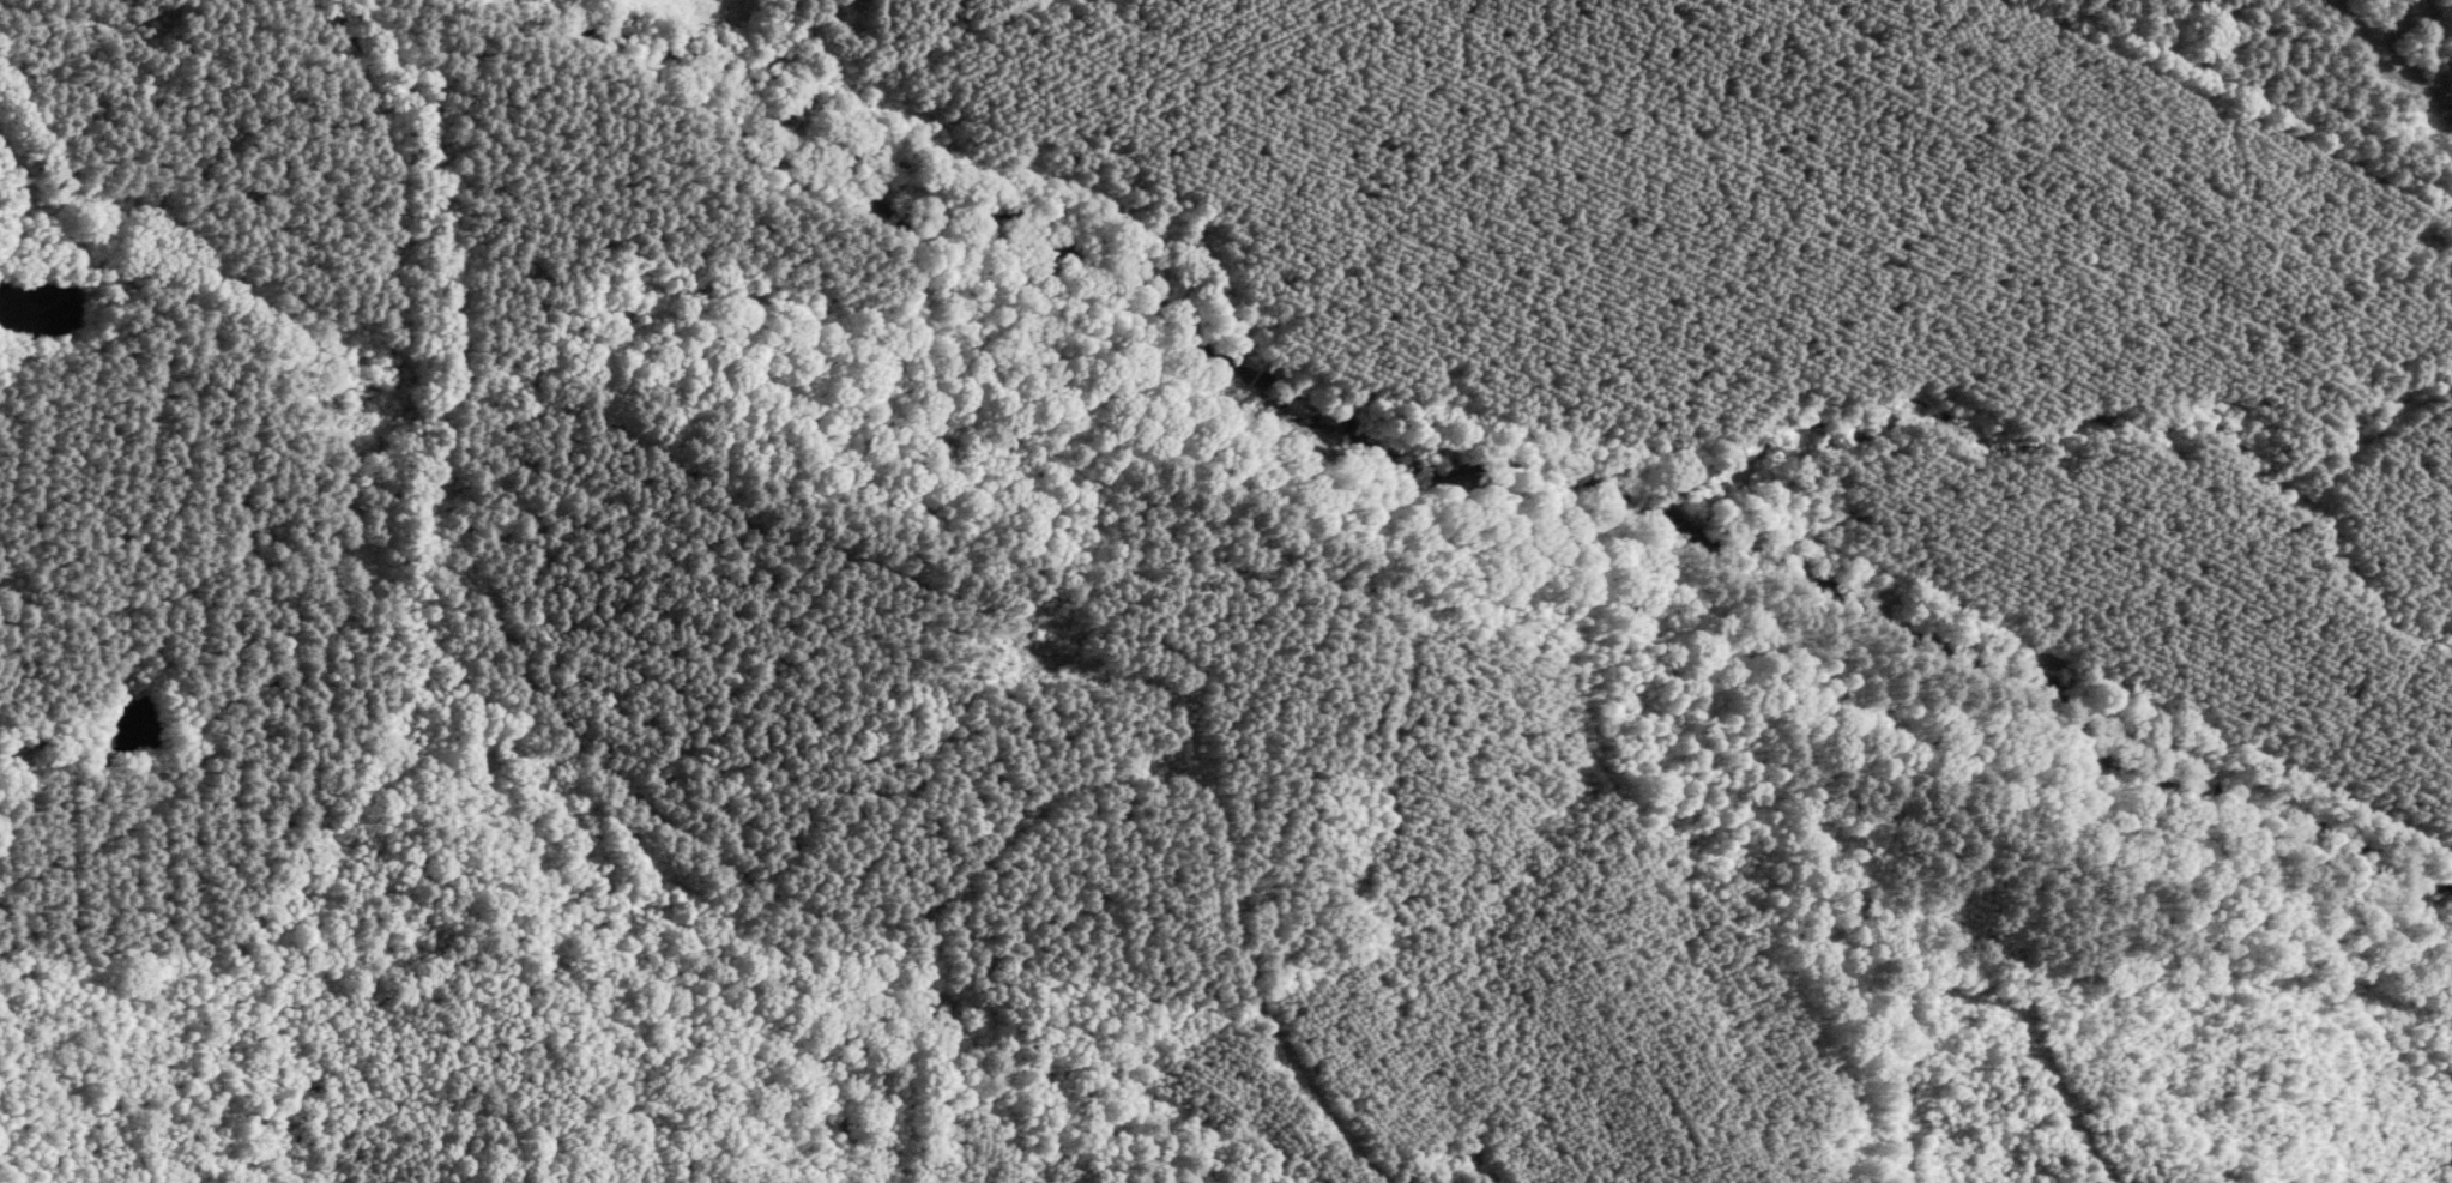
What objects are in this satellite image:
road: (2430, 60)

